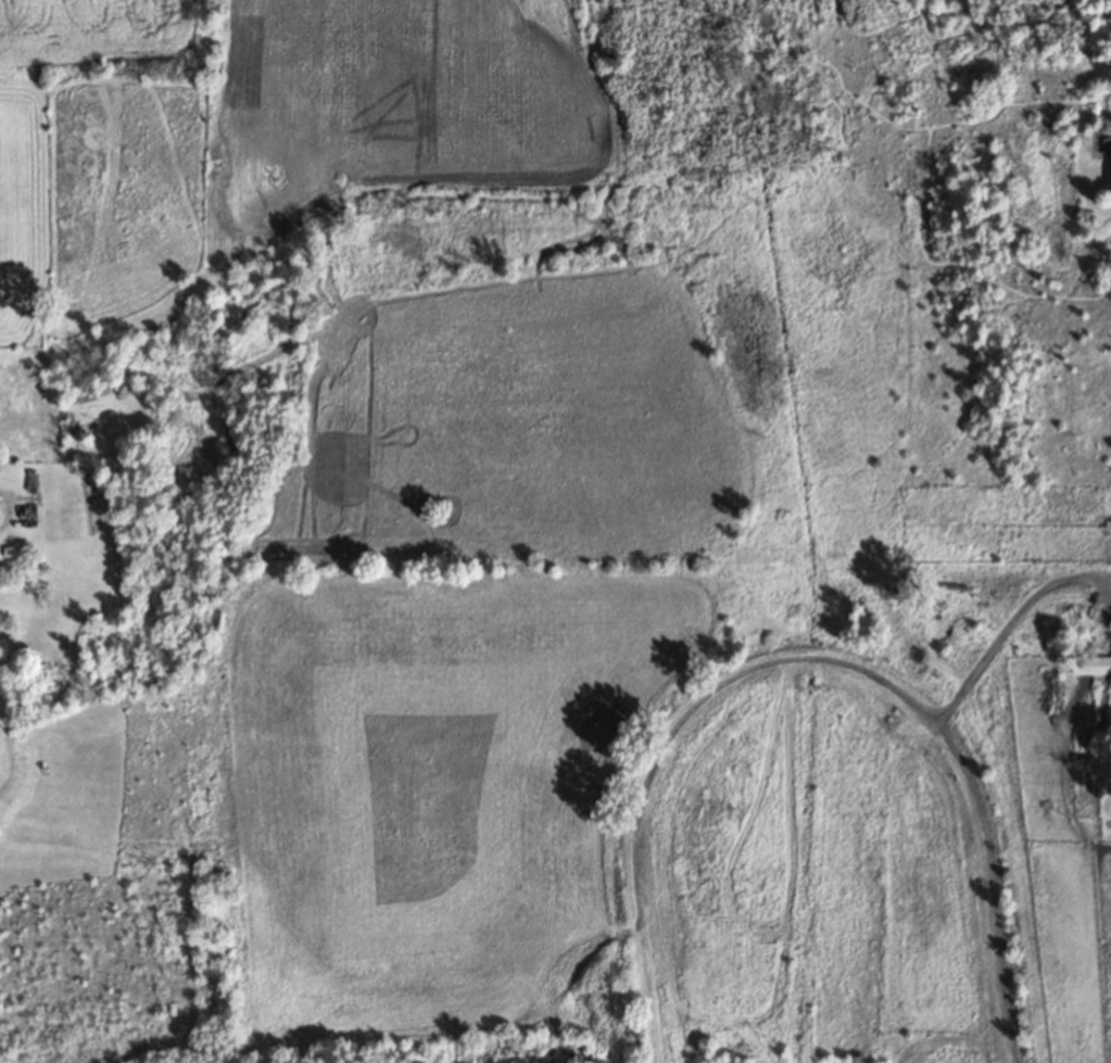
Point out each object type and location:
building: (1110, 163)
building: (1090, 666)

